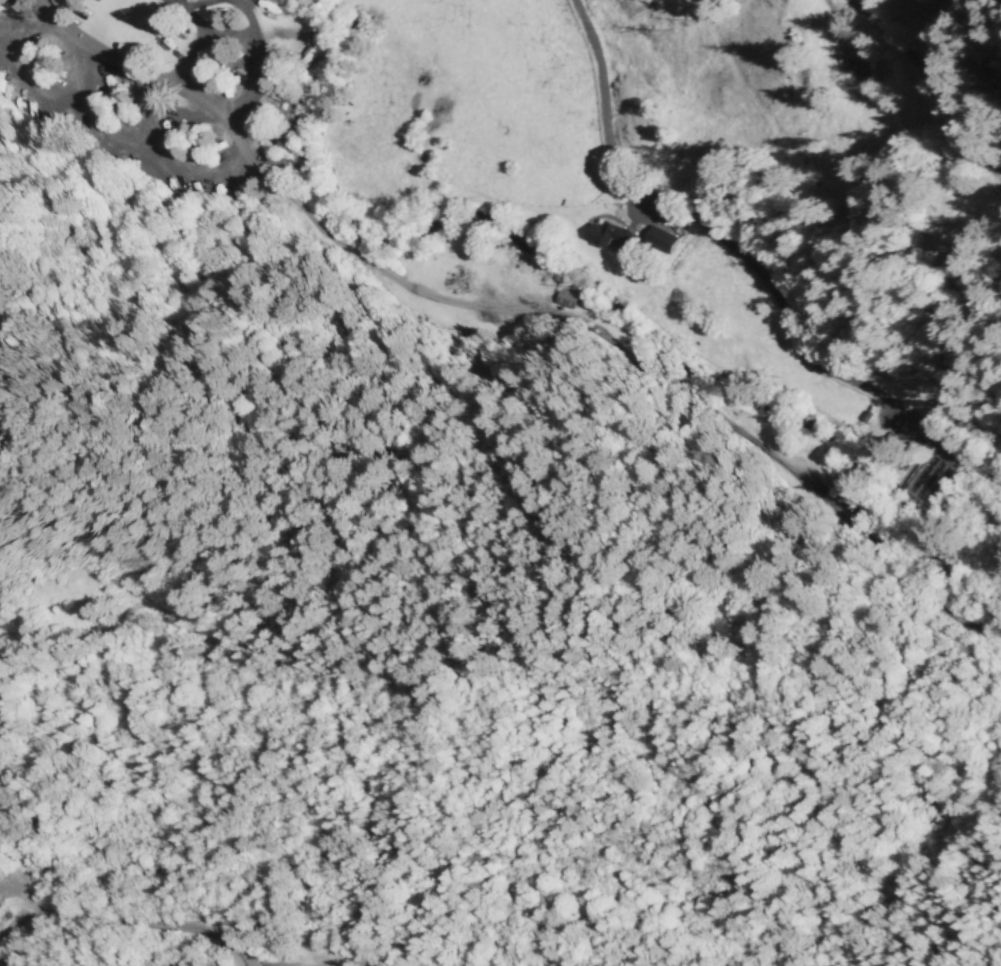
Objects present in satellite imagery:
road: (924, 82)
building: (604, 235)
building: (662, 236)
road: (744, 263)
building: (566, 298)

